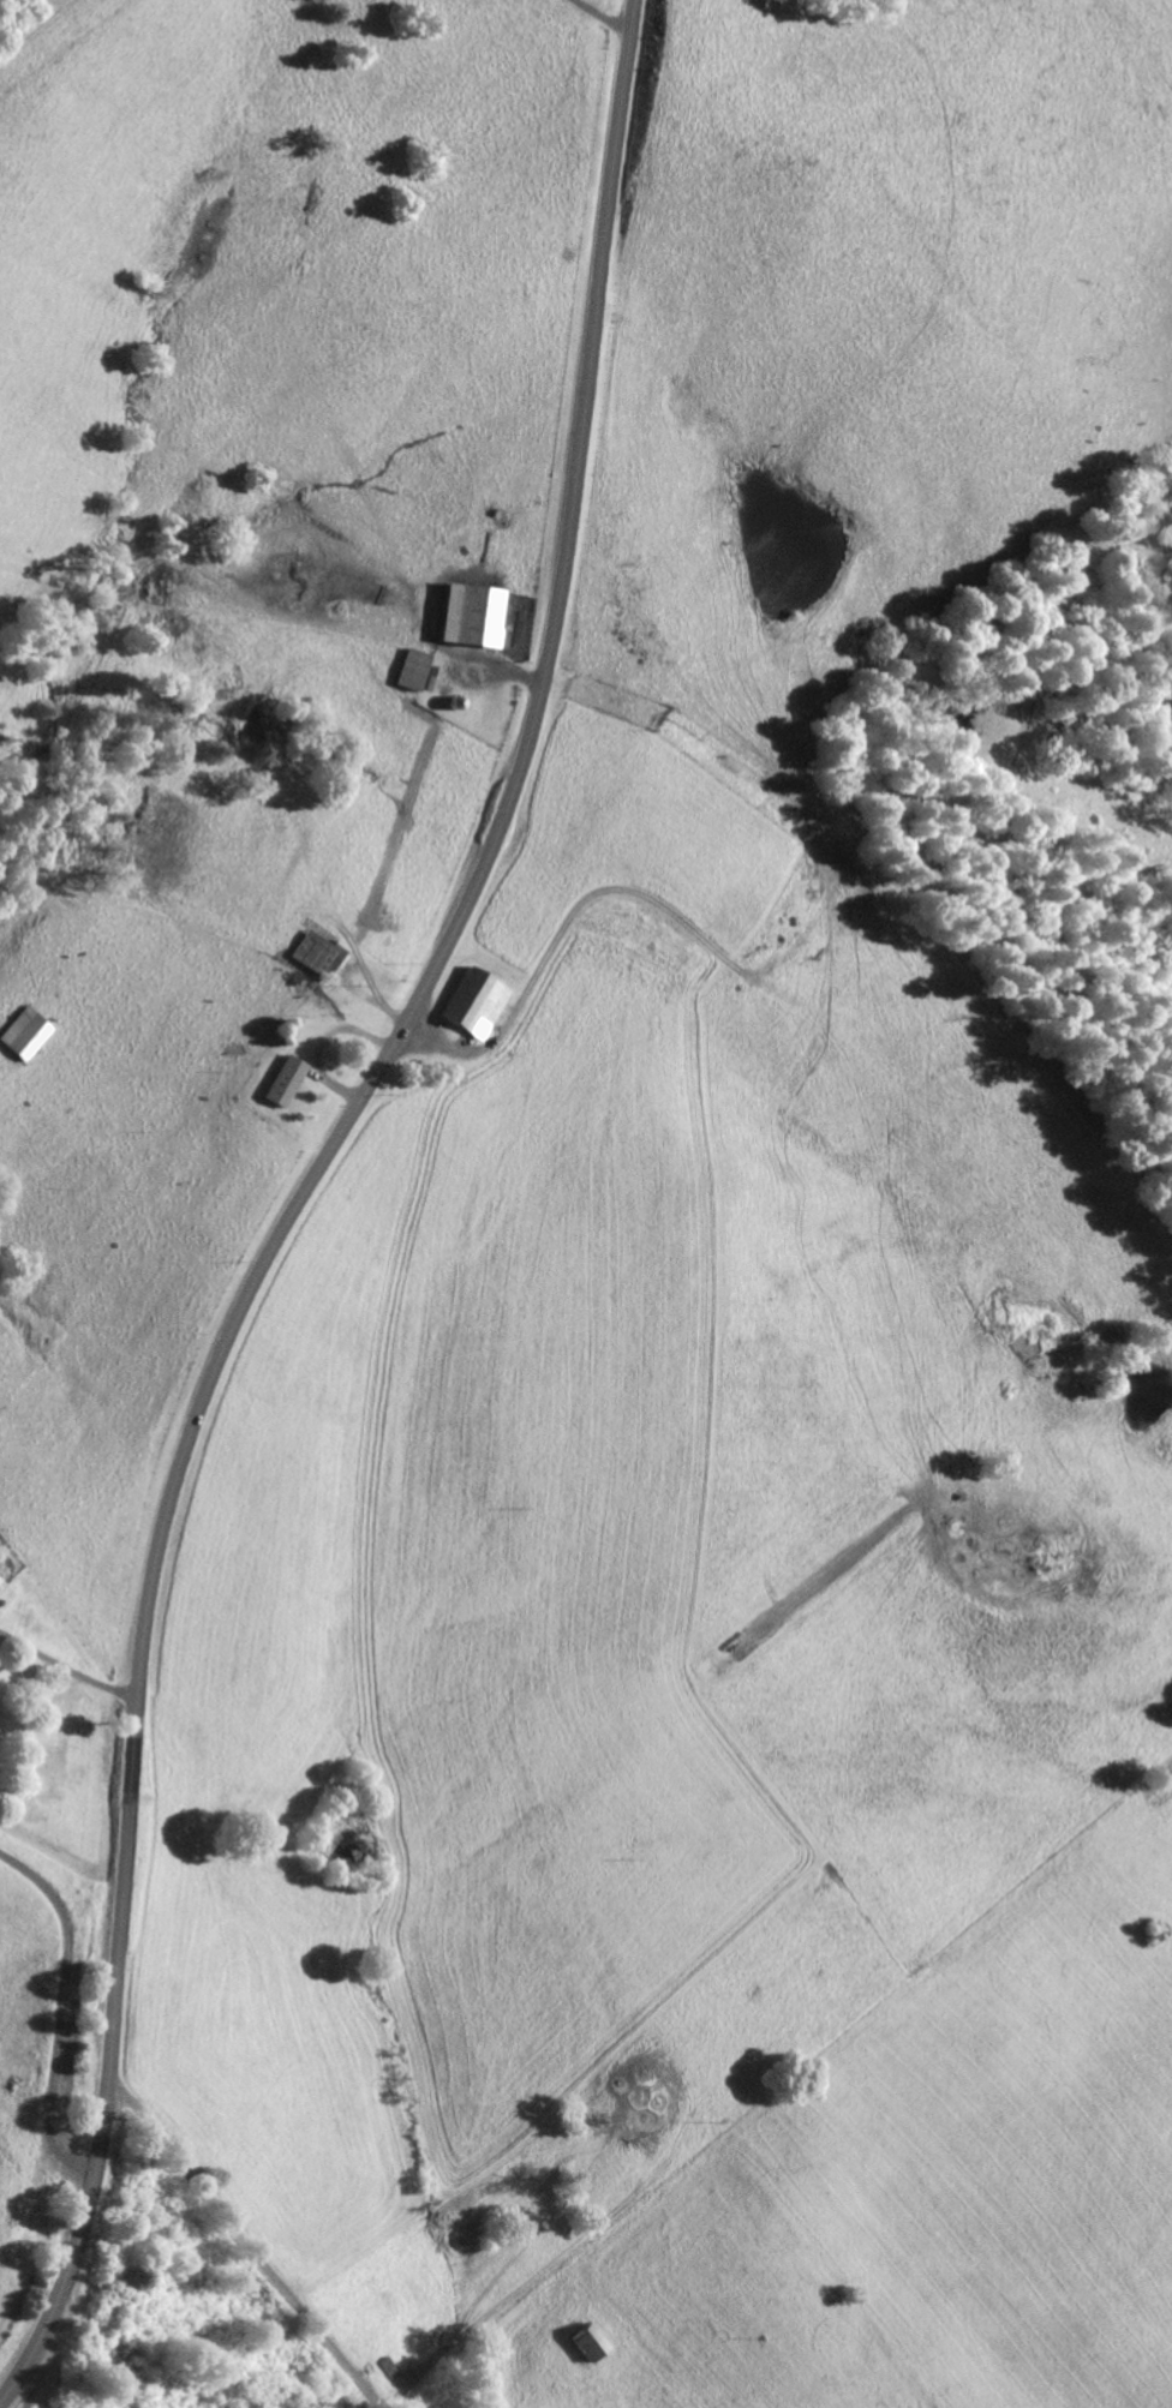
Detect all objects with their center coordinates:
building: (482, 615)
building: (420, 669)
building: (322, 954)
building: (482, 1002)
building: (30, 1032)
building: (287, 1080)
road: (300, 1196)
building: (4, 1582)
road: (68, 1667)
building: (582, 2341)

